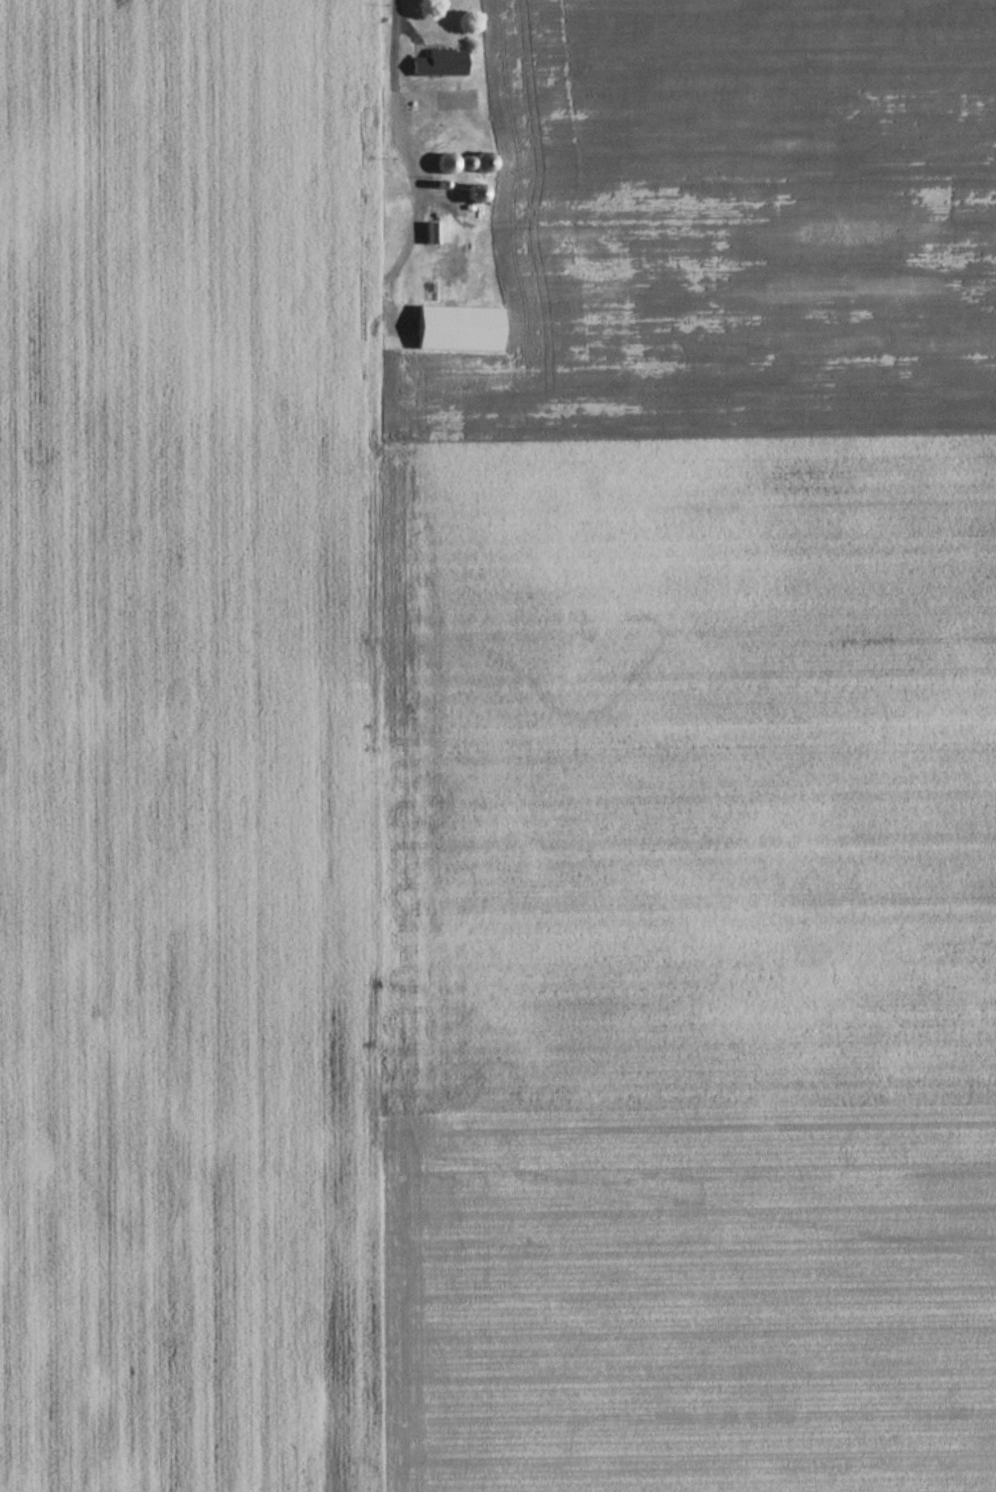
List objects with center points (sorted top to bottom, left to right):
road: (396, 100)
building: (455, 328)
crop: (185, 742)
crop: (696, 777)

